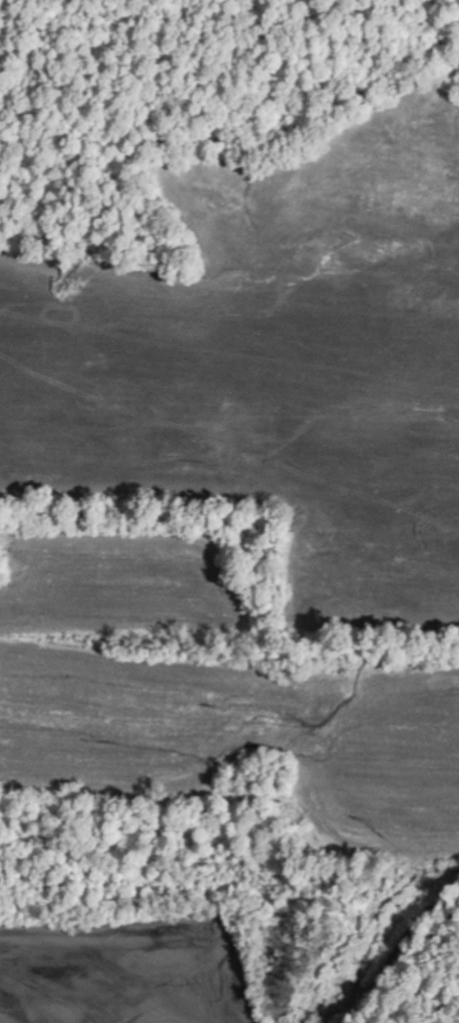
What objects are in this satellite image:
power tower: (325, 1018)

